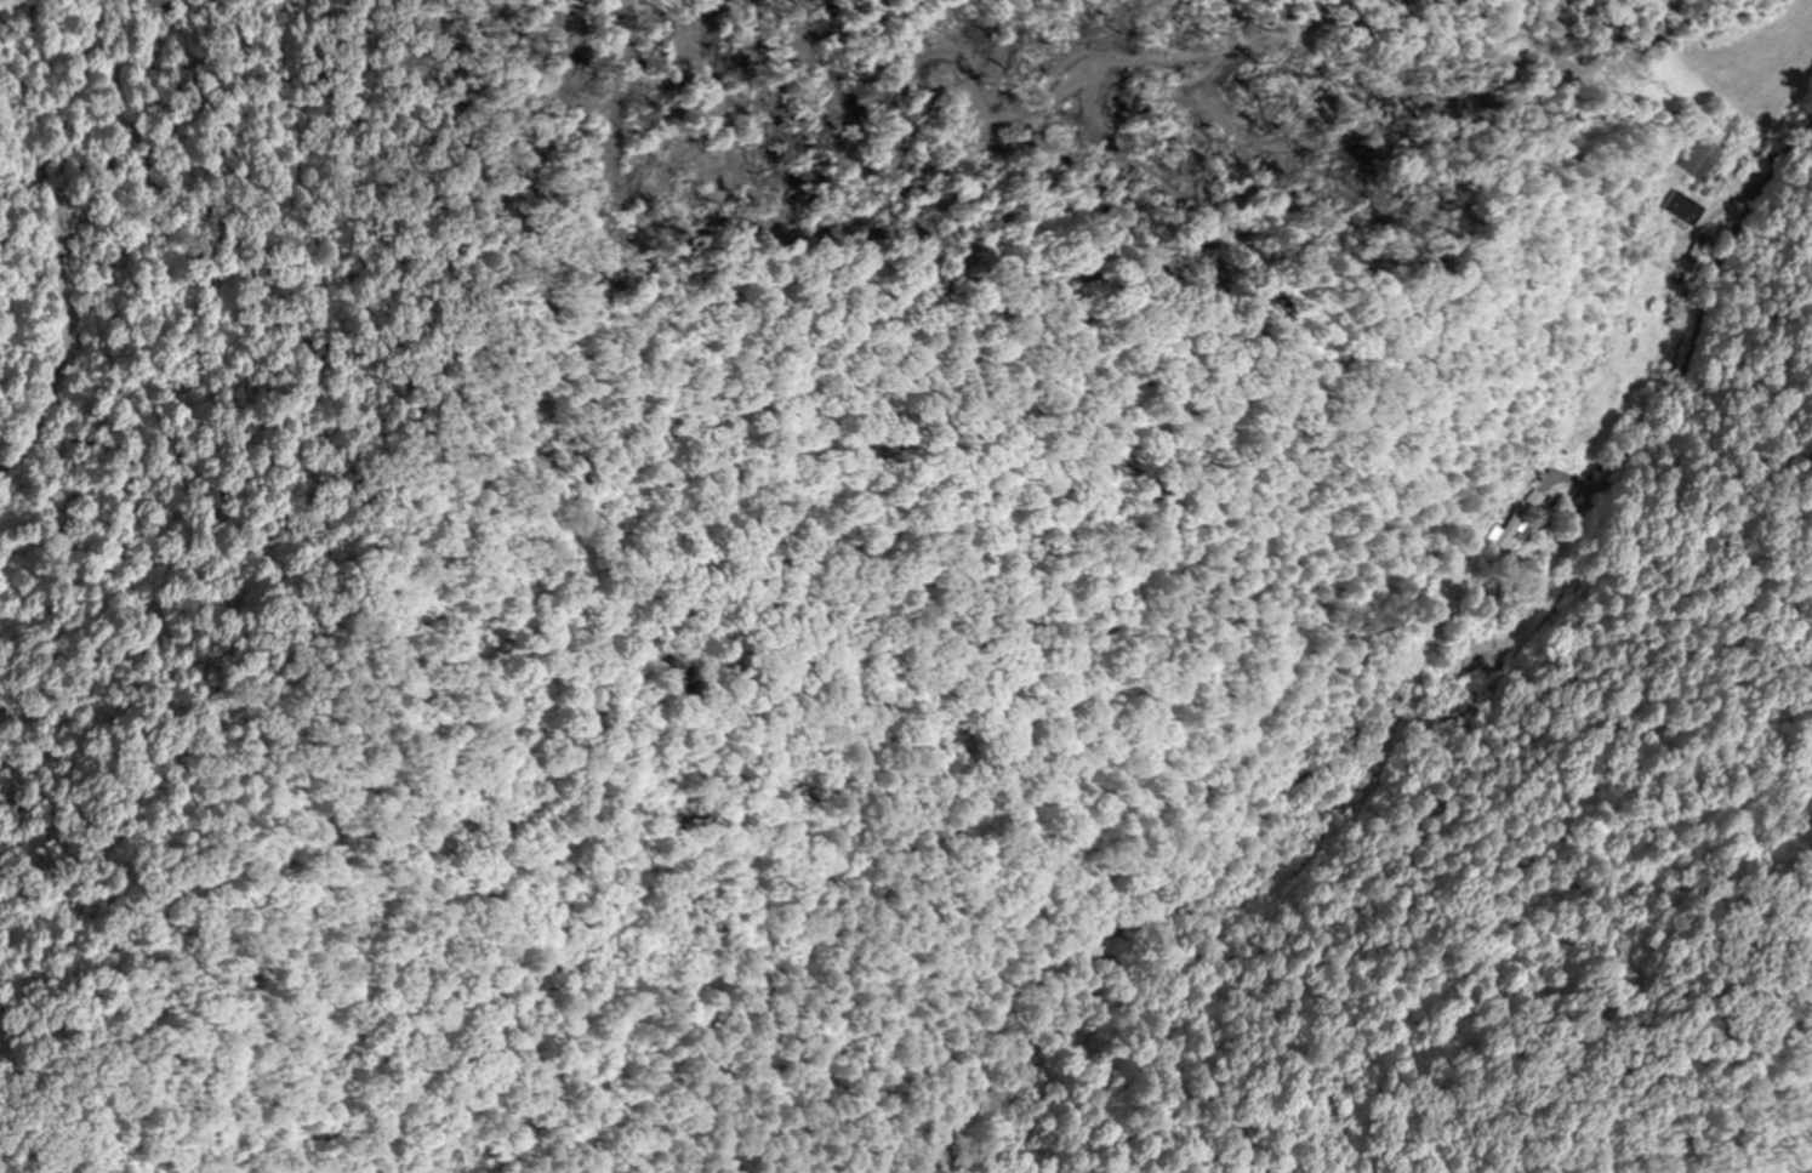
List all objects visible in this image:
building: (1700, 160)
building: (1682, 209)
road: (1734, 294)
building: (1590, 402)
building: (1534, 500)
building: (1511, 529)

